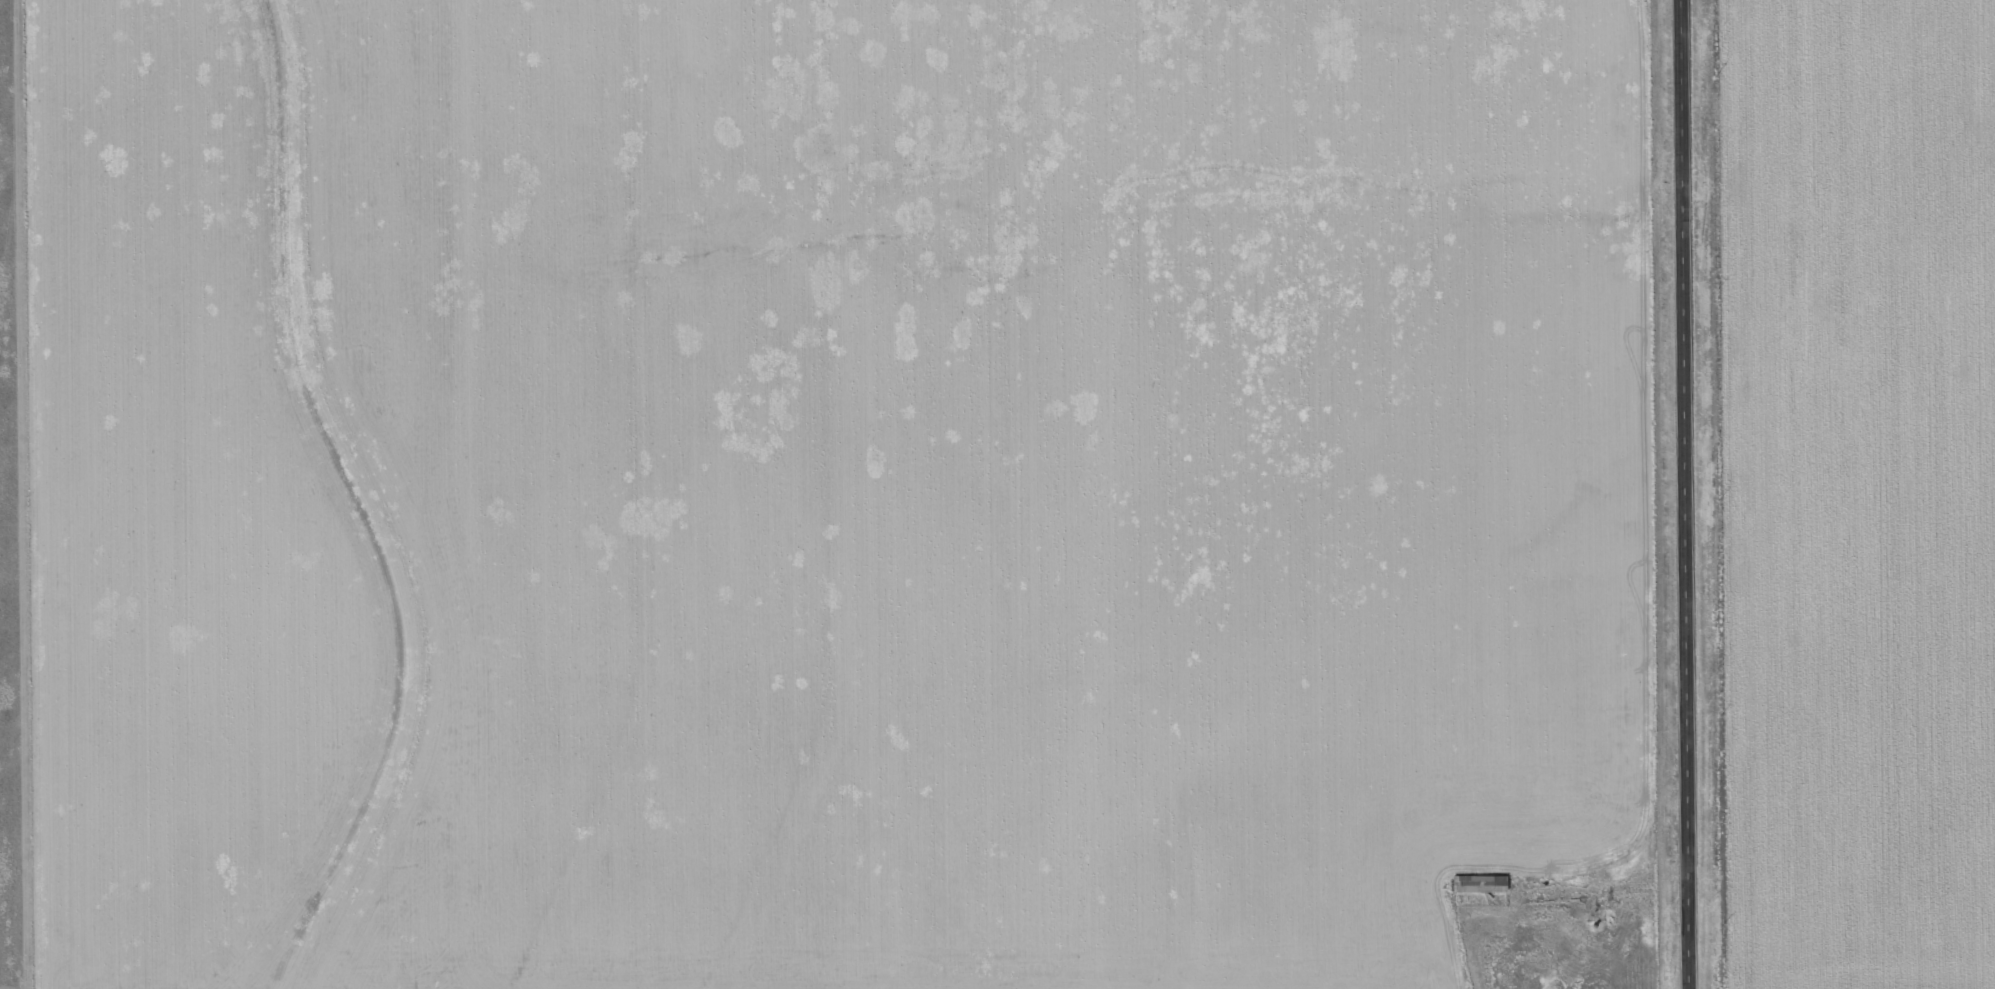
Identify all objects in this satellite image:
road: (1683, 96)
road: (1687, 590)

